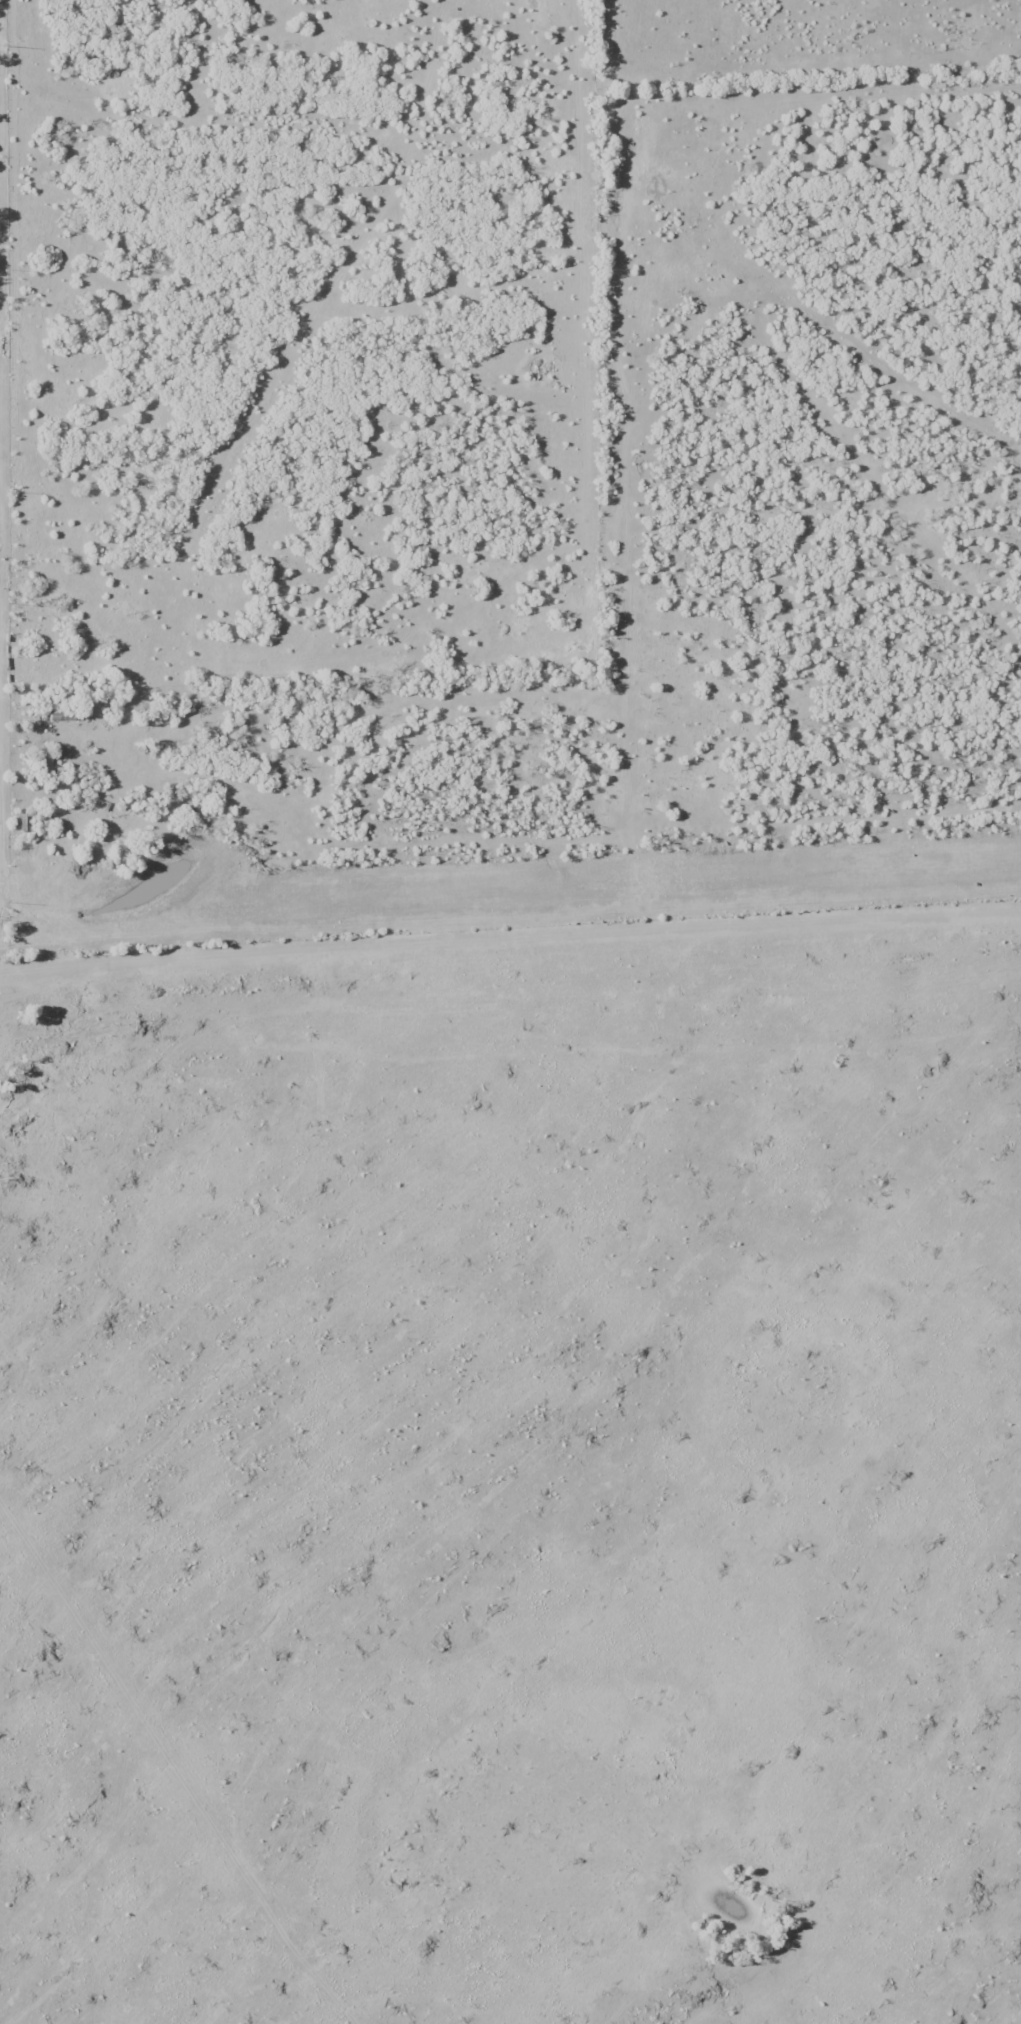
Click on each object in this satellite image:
building: (57, 712)
building: (46, 764)
road: (26, 947)

